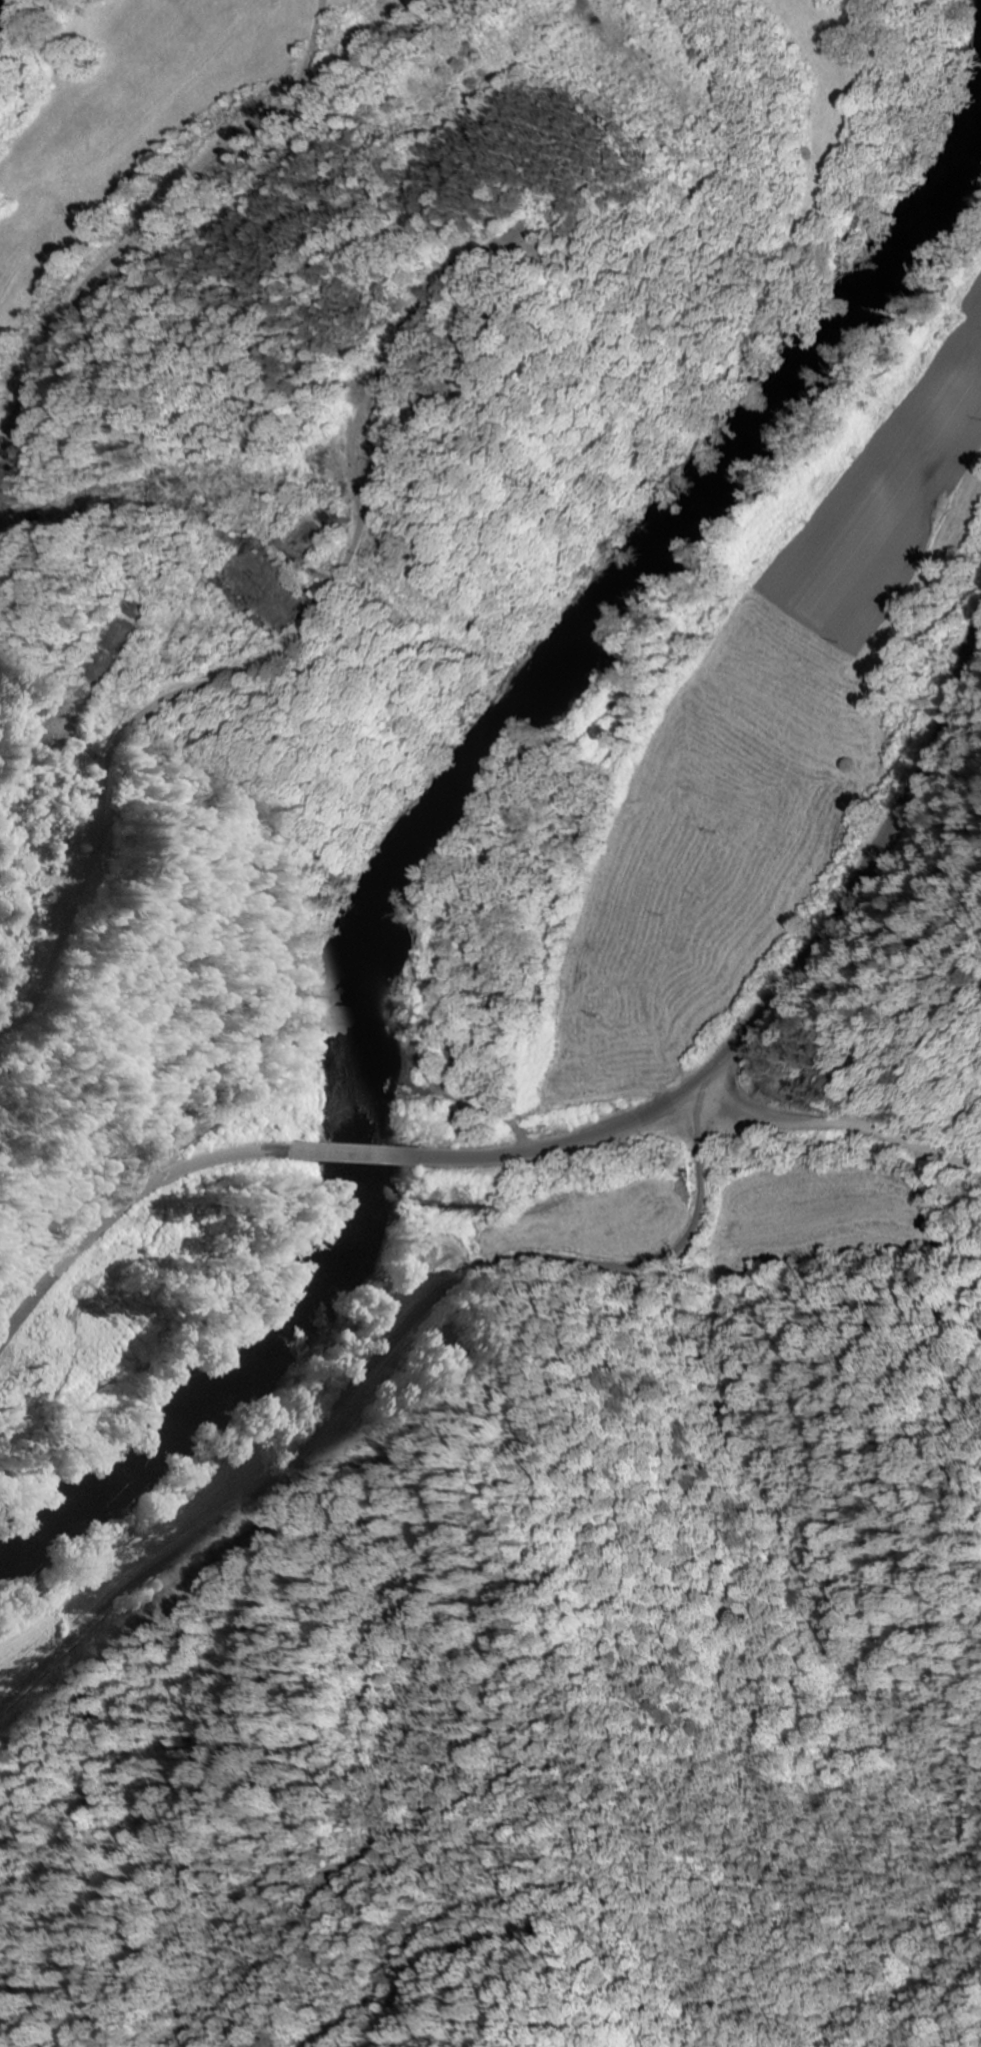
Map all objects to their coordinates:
park: (417, 400)
road: (141, 744)
river: (435, 813)
road: (874, 862)
road: (849, 1097)
road: (357, 1116)
road: (573, 1138)
road: (133, 1191)
road: (386, 1353)

